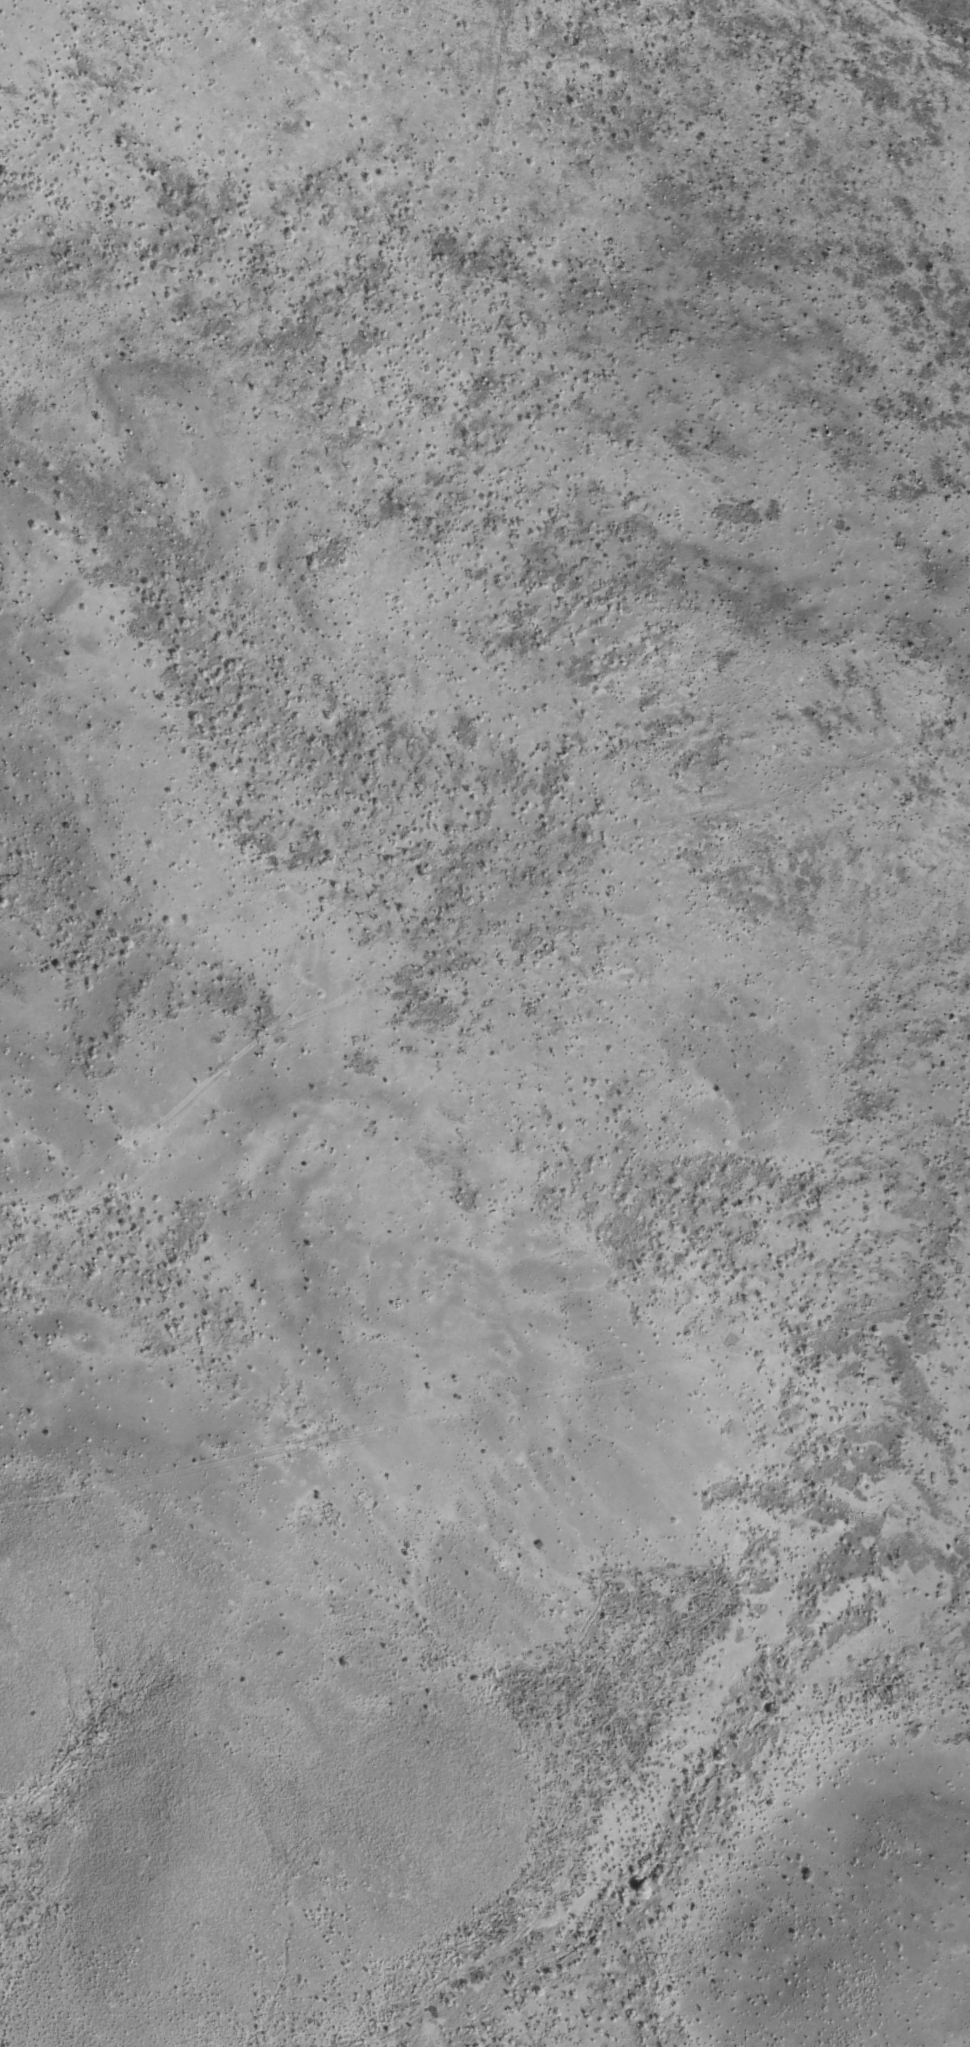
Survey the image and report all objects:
road: (401, 707)
road: (650, 847)

